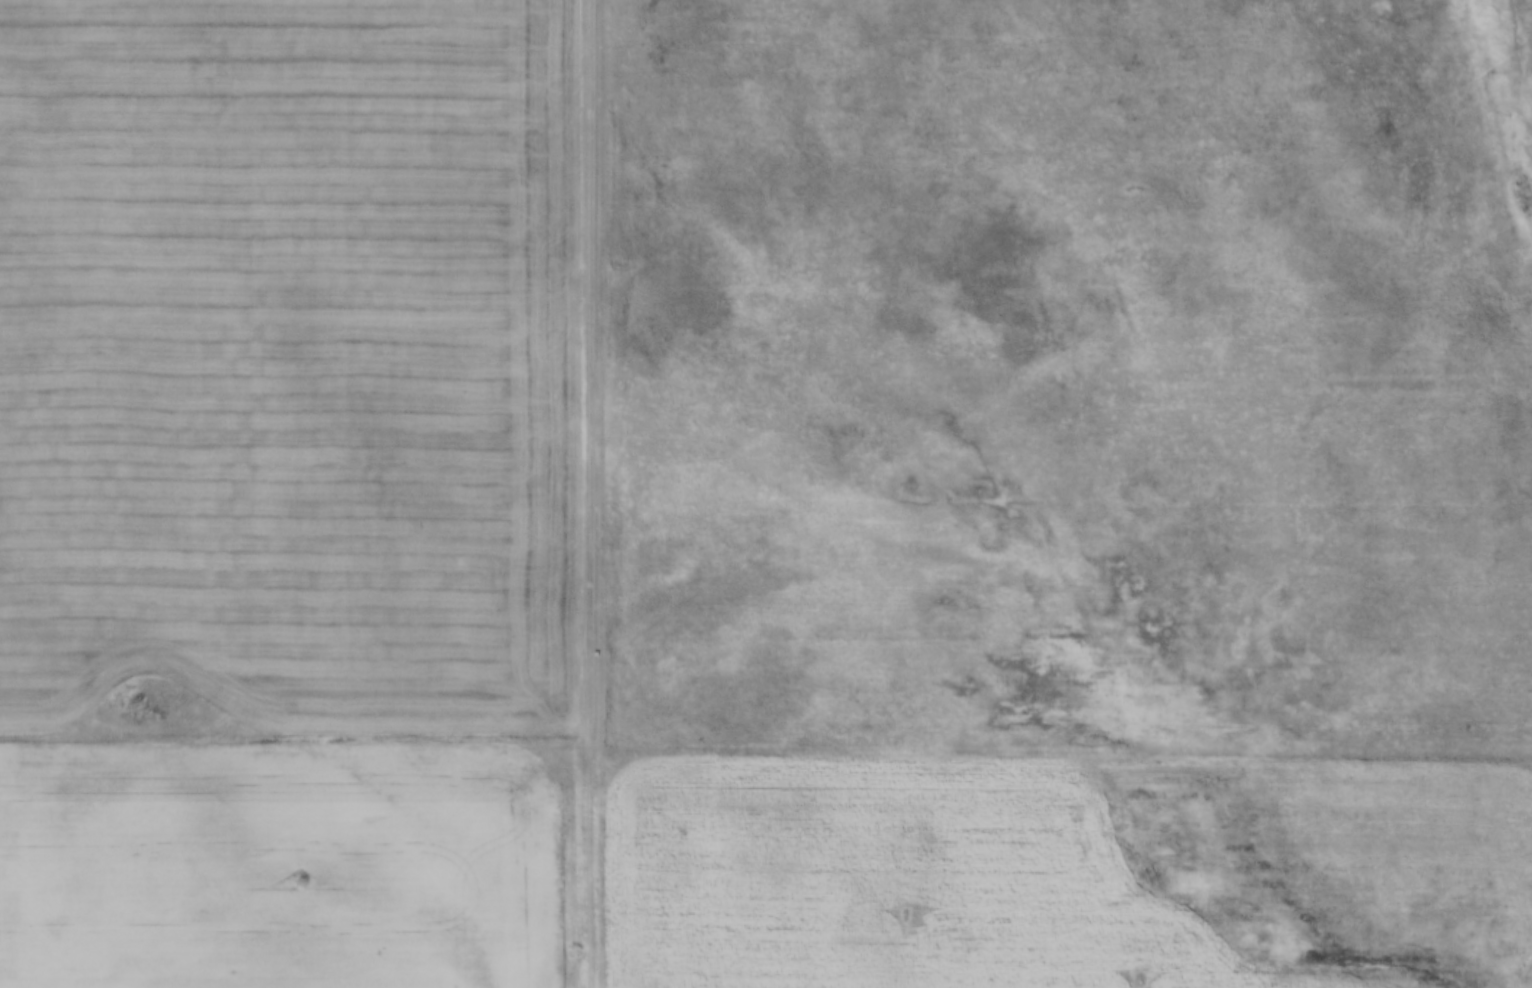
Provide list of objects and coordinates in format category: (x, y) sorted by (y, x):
road: (596, 493)
road: (276, 713)

